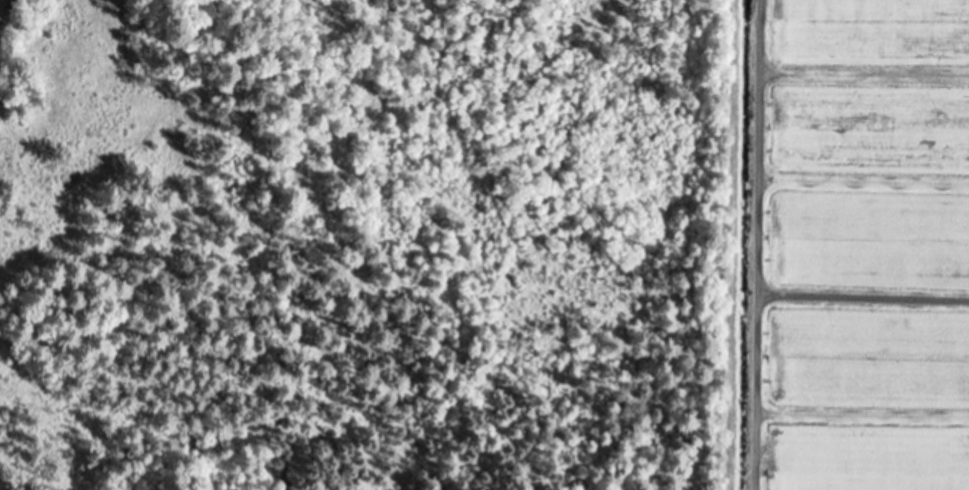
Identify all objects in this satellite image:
crop: (842, 247)

